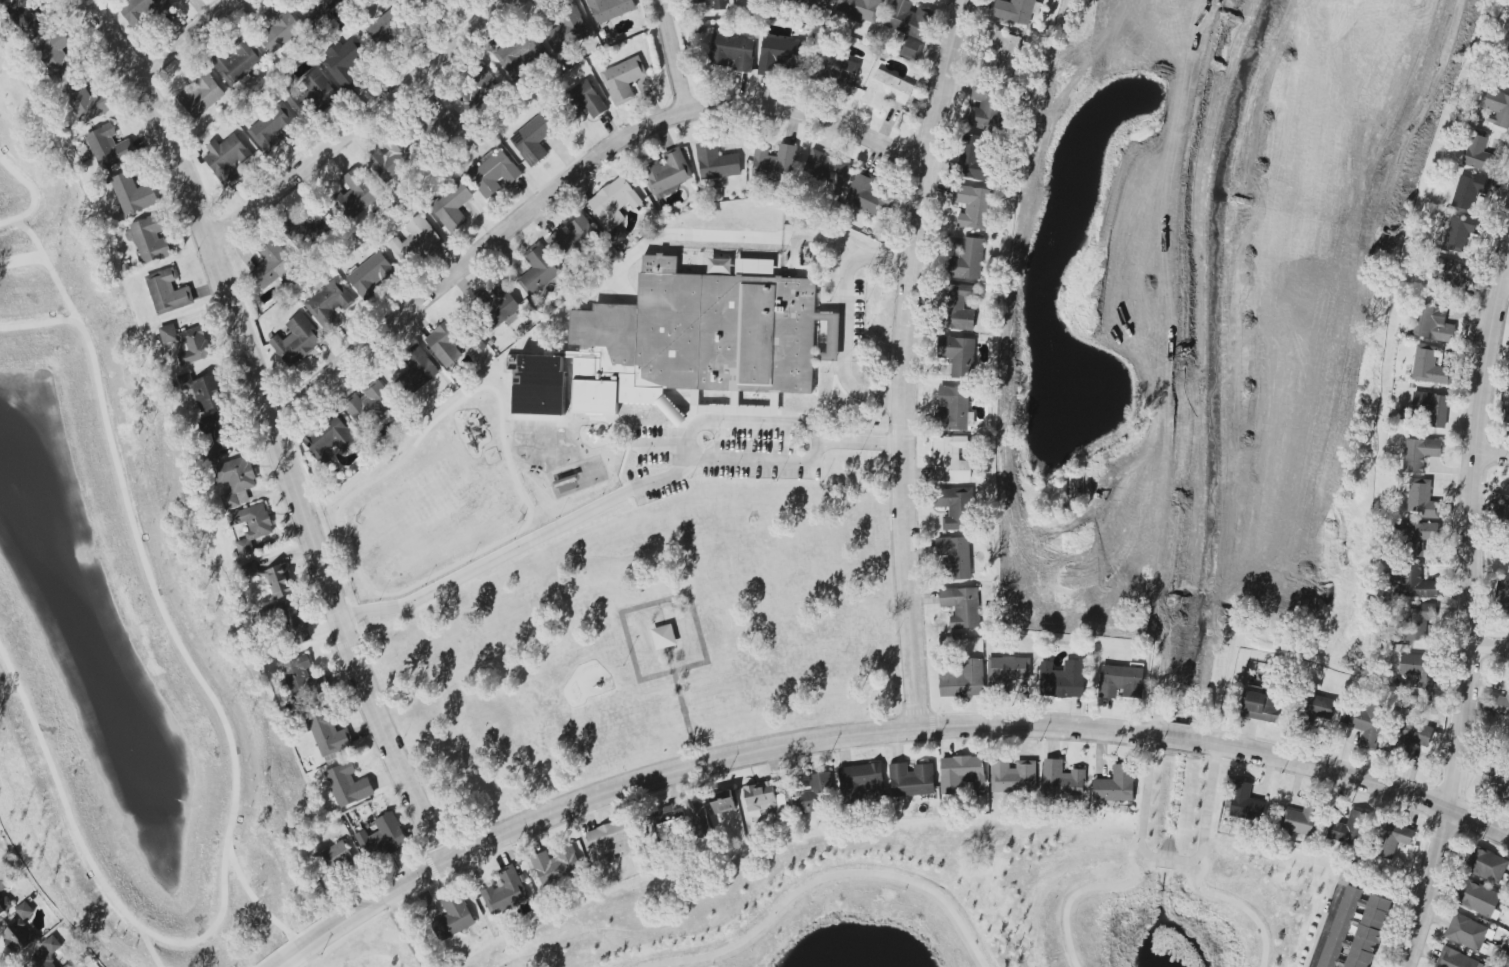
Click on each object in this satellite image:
building: (2, 1)
building: (714, 3)
building: (811, 3)
building: (317, 7)
building: (610, 9)
building: (860, 9)
building: (142, 10)
building: (1014, 10)
building: (29, 17)
building: (908, 19)
building: (387, 26)
building: (280, 28)
building: (568, 31)
road: (188, 37)
building: (1003, 47)
building: (910, 48)
building: (733, 51)
building: (520, 52)
building: (779, 53)
building: (58, 56)
road: (675, 56)
building: (238, 61)
building: (345, 61)
building: (841, 70)
building: (1506, 74)
building: (623, 79)
building: (320, 88)
building: (478, 90)
building: (886, 90)
building: (201, 95)
building: (588, 98)
building: (84, 102)
building: (300, 105)
building: (1496, 107)
building: (986, 108)
road: (363, 121)
building: (449, 122)
building: (274, 129)
building: (532, 139)
building: (109, 147)
building: (1479, 154)
building: (226, 158)
building: (975, 158)
building: (390, 159)
building: (716, 162)
building: (775, 163)
building: (828, 169)
building: (493, 172)
building: (667, 172)
road: (567, 183)
building: (1469, 191)
building: (357, 192)
road: (32, 194)
building: (133, 194)
building: (867, 196)
building: (614, 202)
building: (452, 206)
building: (973, 206)
building: (314, 224)
building: (1461, 232)
road: (1062, 234)
building: (151, 238)
building: (574, 238)
building: (416, 241)
building: (968, 260)
building: (272, 264)
road: (49, 267)
building: (539, 268)
building: (1451, 273)
building: (371, 275)
road: (1506, 278)
building: (167, 291)
building: (330, 304)
building: (500, 308)
building: (959, 308)
road: (844, 318)
building: (1432, 323)
building: (168, 333)
building: (297, 340)
building: (446, 342)
building: (680, 342)
building: (195, 346)
building: (958, 355)
road: (905, 360)
building: (1429, 366)
building: (418, 369)
building: (204, 391)
building: (369, 401)
building: (1432, 408)
building: (954, 409)
building: (1507, 416)
road: (753, 424)
road: (263, 428)
building: (217, 430)
building: (330, 437)
road: (665, 439)
road: (862, 441)
road: (691, 445)
road: (1493, 453)
building: (1418, 454)
road: (763, 457)
building: (950, 459)
road: (1078, 466)
road: (674, 473)
building: (235, 481)
park: (1136, 485)
building: (1422, 499)
road: (1299, 507)
building: (956, 508)
building: (252, 525)
building: (1416, 537)
building: (955, 556)
road: (490, 560)
building: (251, 569)
building: (279, 581)
building: (1414, 582)
building: (1503, 597)
building: (962, 606)
road: (160, 607)
road: (1474, 614)
building: (1418, 621)
park: (131, 627)
building: (664, 637)
park: (648, 639)
road: (1491, 647)
river: (1196, 649)
road: (707, 662)
building: (1419, 669)
building: (1008, 670)
road: (1159, 673)
building: (302, 678)
building: (963, 679)
building: (1063, 680)
building: (1121, 681)
building: (1498, 704)
building: (1320, 706)
building: (1262, 707)
road: (686, 717)
building: (1364, 722)
road: (877, 732)
building: (330, 734)
building: (1413, 734)
river: (1180, 740)
building: (962, 774)
building: (1498, 777)
building: (912, 779)
building: (1012, 779)
building: (1062, 781)
building: (862, 782)
building: (348, 785)
building: (1116, 785)
river: (1174, 793)
building: (813, 794)
building: (762, 798)
building: (723, 801)
building: (1246, 803)
road: (69, 815)
building: (1300, 818)
building: (701, 821)
building: (1349, 829)
building: (382, 837)
building: (1393, 840)
building: (611, 842)
building: (336, 858)
river: (1166, 860)
building: (1486, 865)
building: (556, 866)
road: (825, 878)
building: (3, 882)
road: (1095, 886)
building: (506, 892)
building: (1479, 899)
river: (1162, 900)
road: (256, 901)
building: (5, 905)
building: (25, 910)
building: (454, 917)
road: (1325, 923)
building: (1353, 929)
building: (1468, 933)
building: (19, 937)
road: (149, 946)
building: (50, 952)
building: (1455, 959)
building: (1507, 962)
building: (67, 966)

